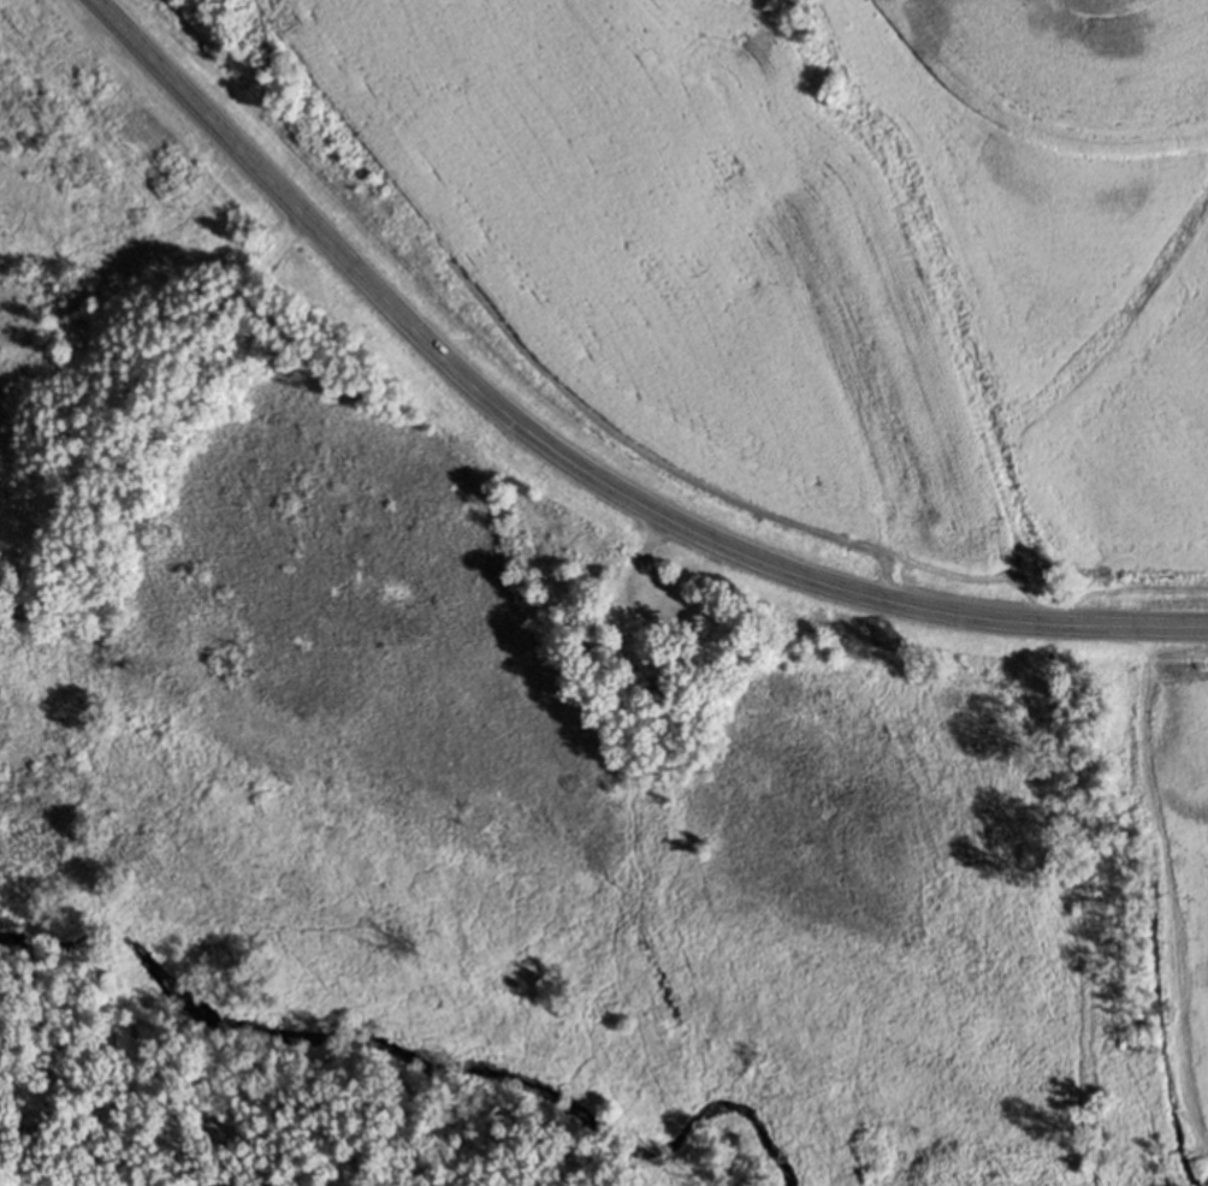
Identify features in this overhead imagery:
road: (159, 378)
road: (573, 462)
parking lot: (26, 521)
road: (643, 565)
parking lot: (659, 603)

